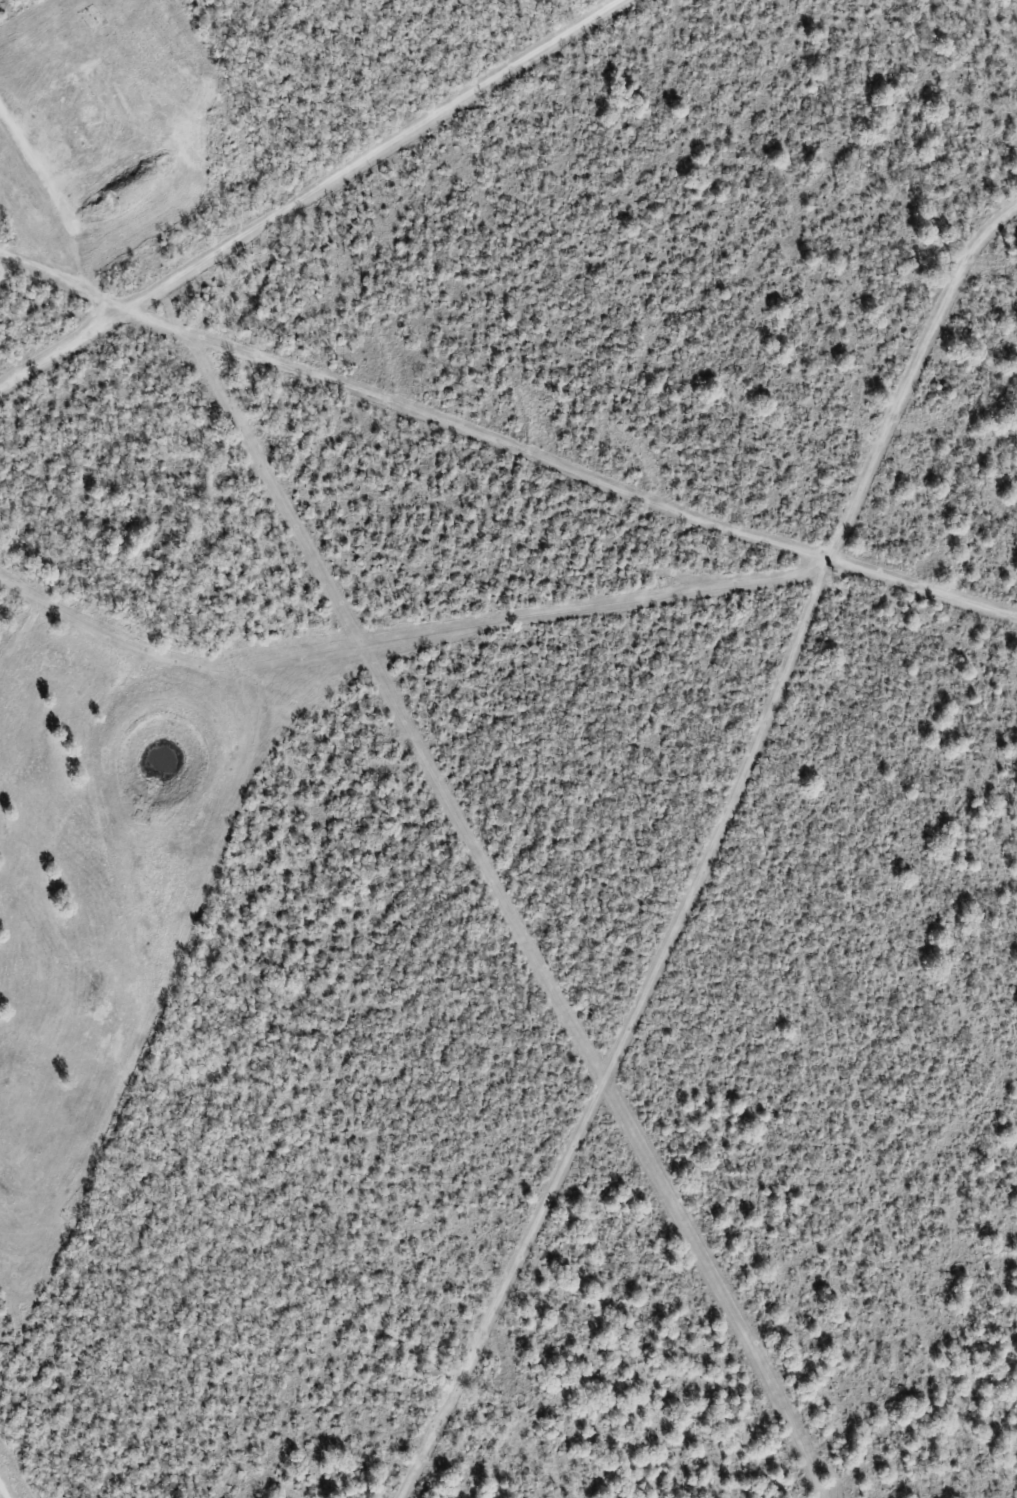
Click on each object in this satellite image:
road: (34, 161)
road: (6, 1487)

